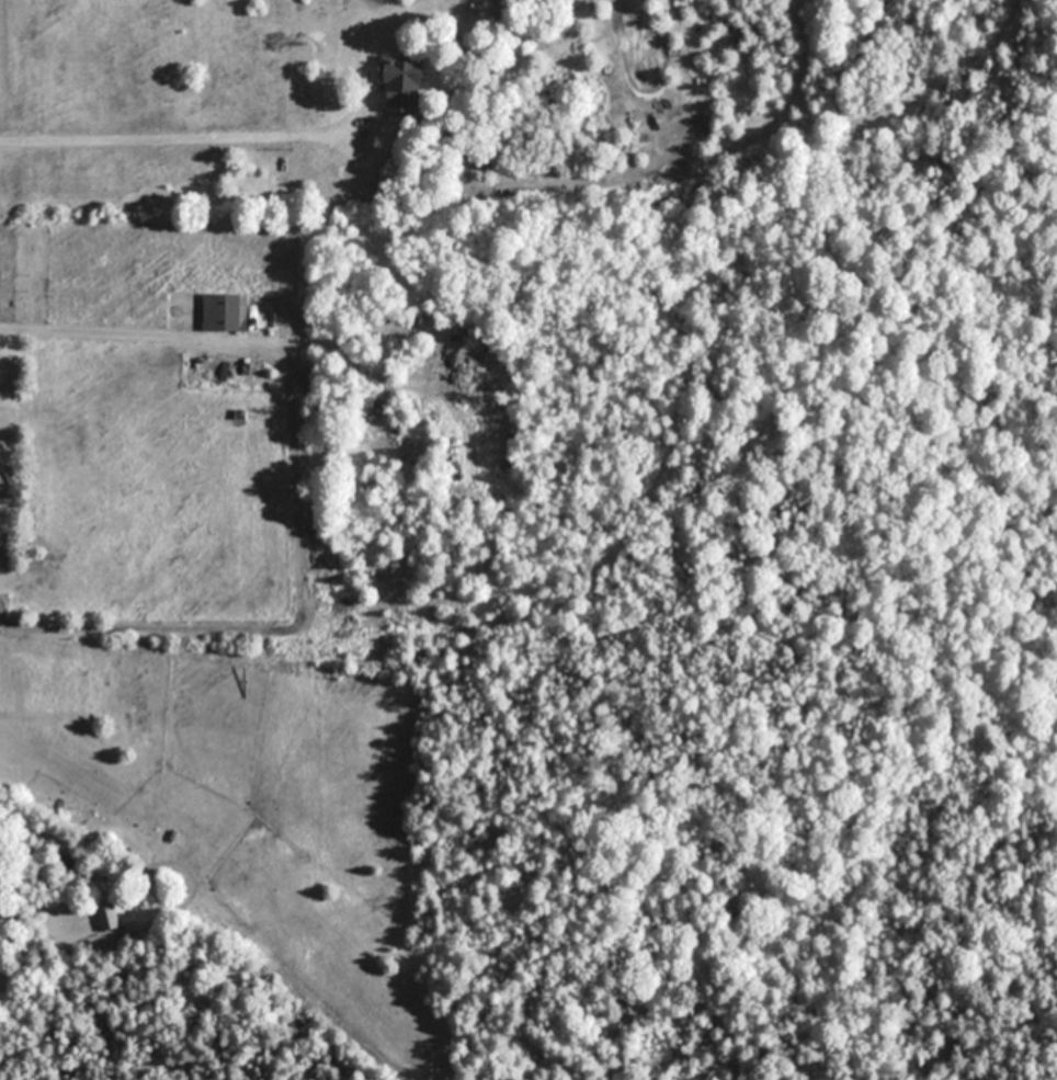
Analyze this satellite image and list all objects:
building: (400, 80)
road: (174, 136)
building: (224, 311)
road: (163, 331)
building: (107, 916)

